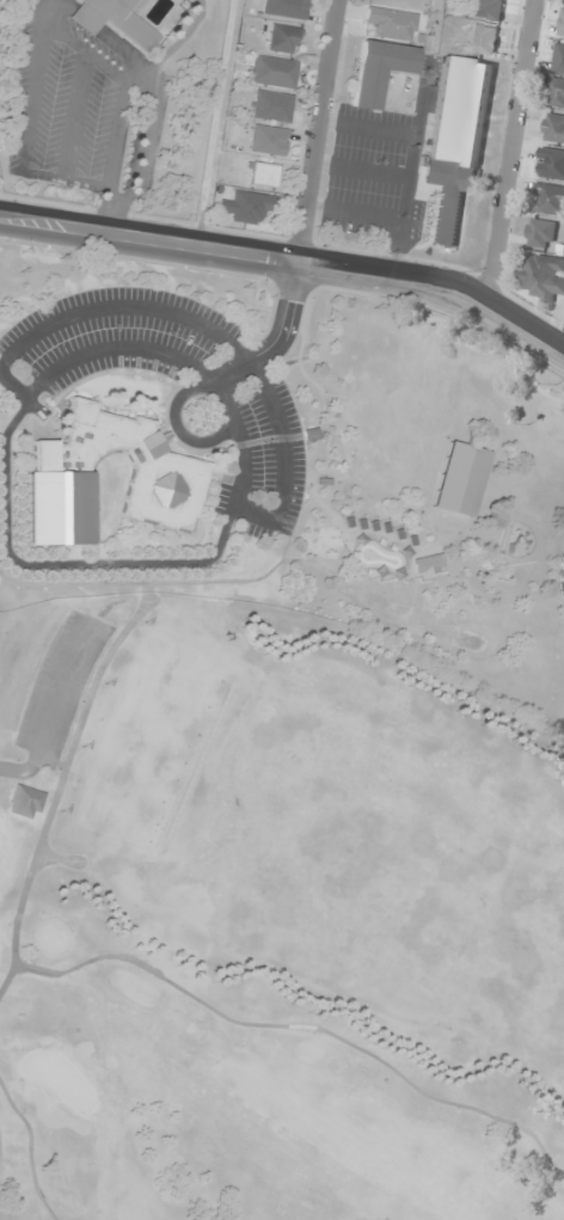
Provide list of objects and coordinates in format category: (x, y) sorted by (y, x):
building: (283, 8)
building: (486, 10)
building: (112, 20)
building: (387, 23)
building: (562, 26)
building: (281, 38)
building: (483, 38)
building: (559, 59)
building: (376, 69)
building: (271, 72)
building: (557, 92)
building: (270, 106)
building: (554, 128)
road: (325, 133)
building: (265, 140)
building: (455, 142)
road: (519, 149)
building: (552, 164)
building: (262, 174)
building: (550, 198)
building: (249, 207)
building: (542, 233)
road: (288, 263)
building: (544, 275)
park: (292, 464)
building: (129, 465)
building: (458, 479)
building: (56, 508)
building: (427, 564)
road: (51, 707)
building: (24, 802)
park: (269, 924)

